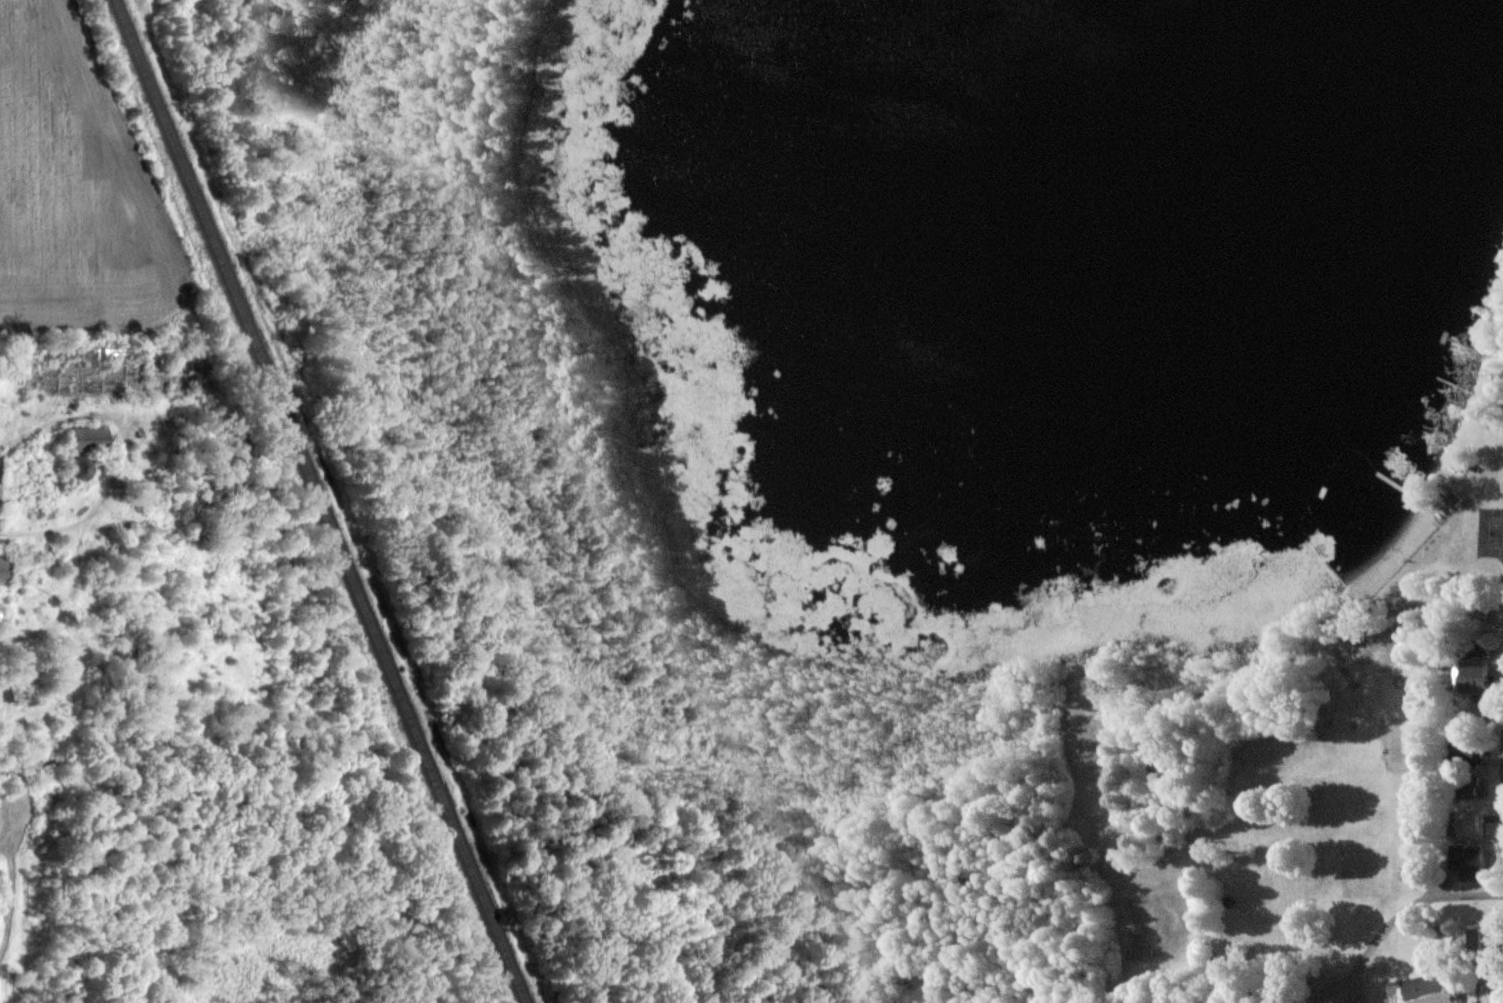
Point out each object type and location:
building: (87, 437)
building: (1450, 498)
railway: (322, 501)
building: (1468, 678)
building: (1471, 787)
building: (1468, 824)
building: (1468, 860)
road: (1401, 913)
building: (1472, 936)
building: (1421, 990)

